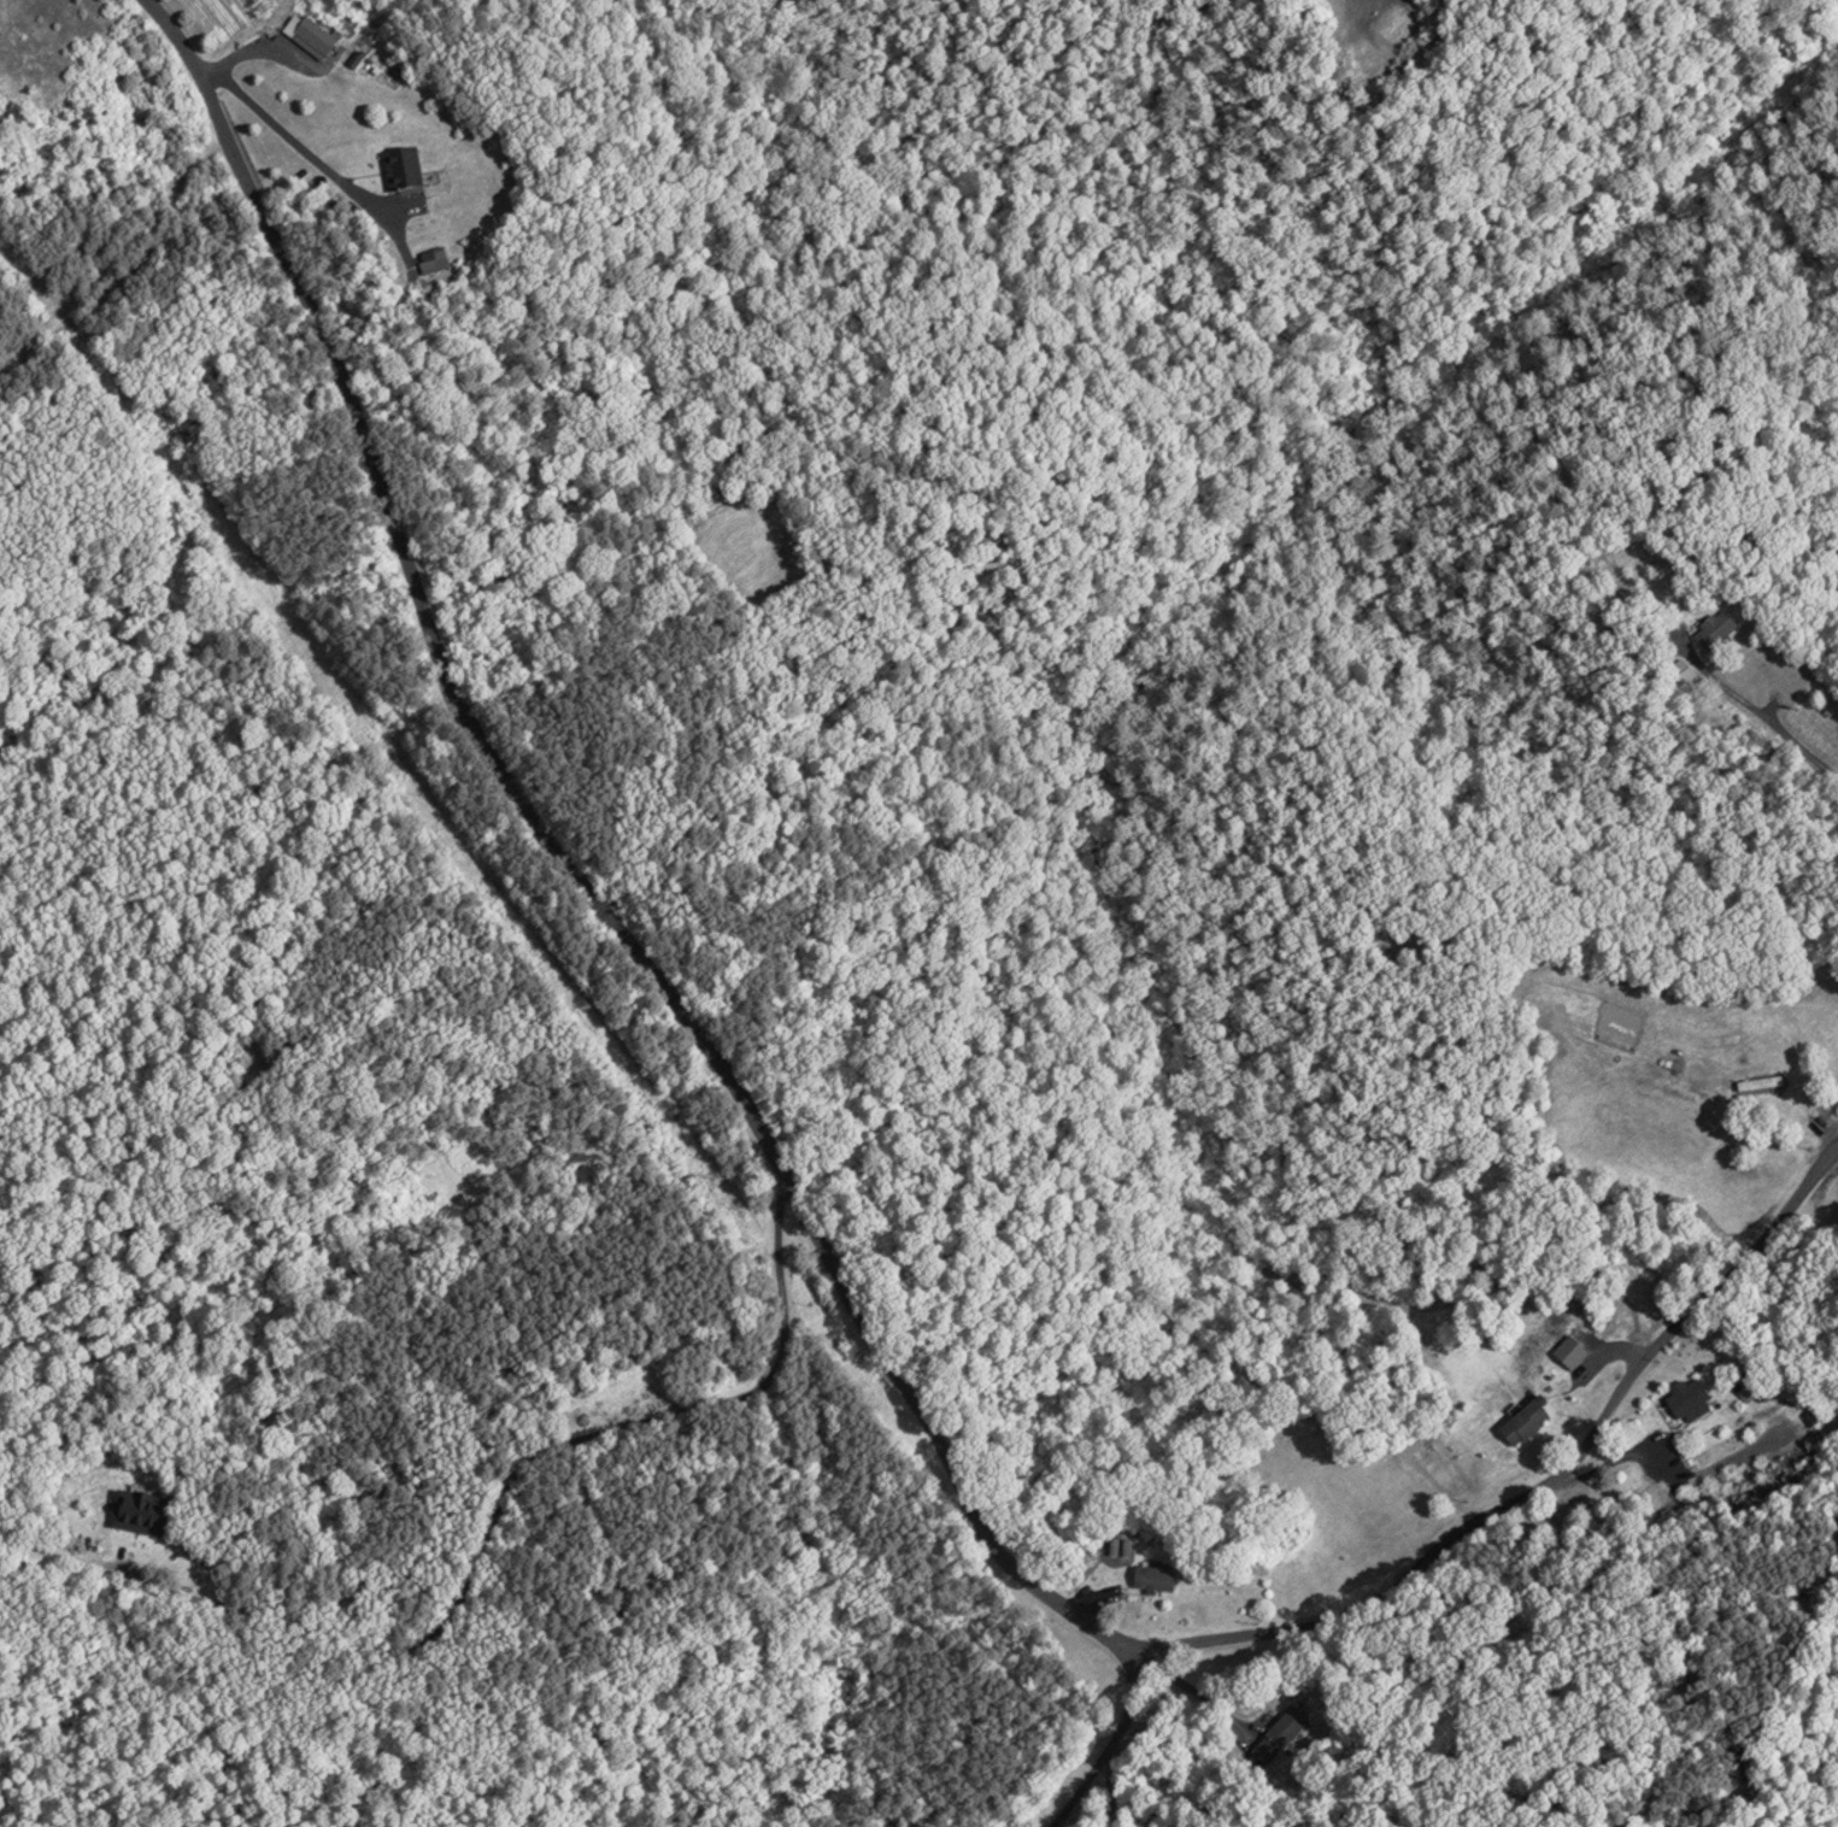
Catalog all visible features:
building: (312, 40)
road: (316, 160)
building: (400, 170)
building: (430, 259)
building: (1714, 628)
road: (1758, 710)
building: (1758, 1082)
road: (820, 1245)
building: (1568, 1352)
building: (1792, 1394)
building: (1686, 1398)
building: (1522, 1422)
road: (498, 1506)
building: (102, 1523)
building: (43, 1558)
building: (1152, 1579)
building: (1280, 1737)
road: (1110, 1741)
road: (1109, 1788)

